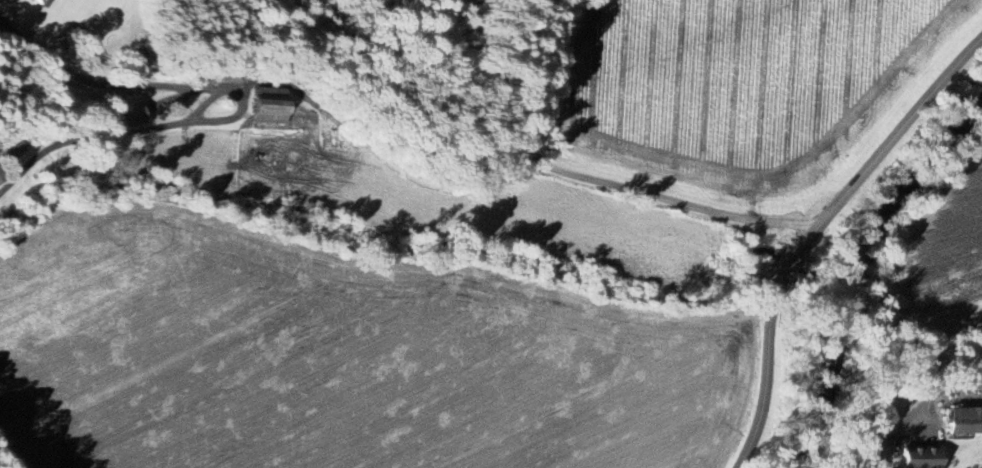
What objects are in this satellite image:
building: (45, 2)
road: (241, 101)
building: (135, 114)
road: (884, 145)
building: (15, 152)
building: (2, 177)
road: (593, 178)
river: (903, 179)
road: (788, 262)
road: (766, 370)
river: (827, 380)
road: (942, 382)
building: (962, 420)
building: (919, 457)
road: (8, 460)

